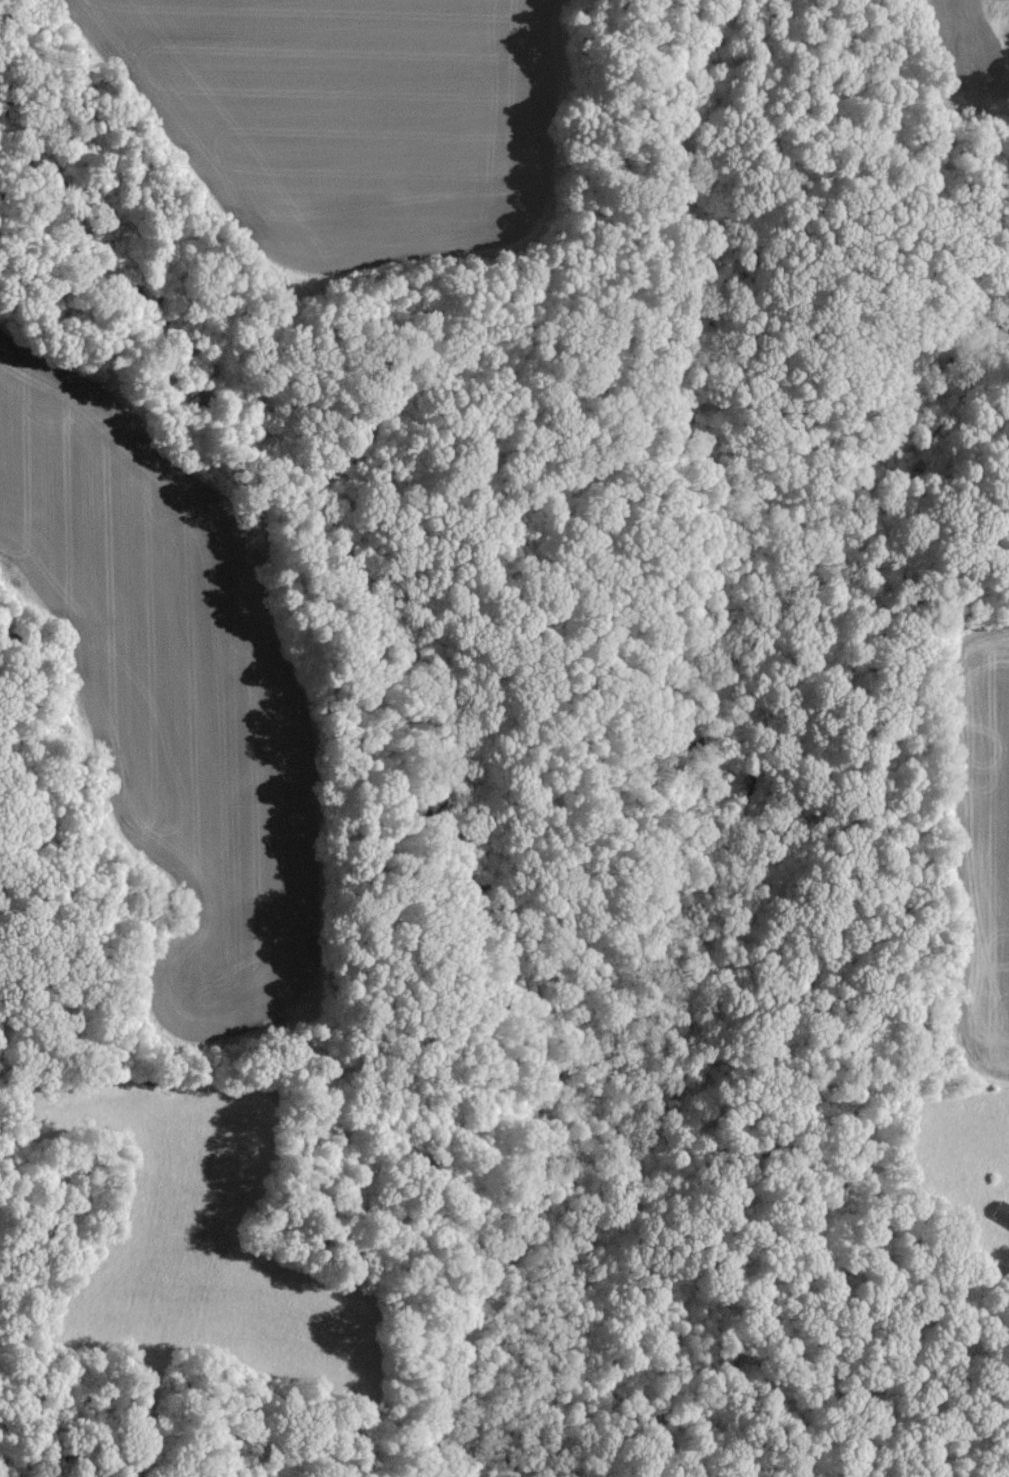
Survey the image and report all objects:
building: (1002, 1212)

